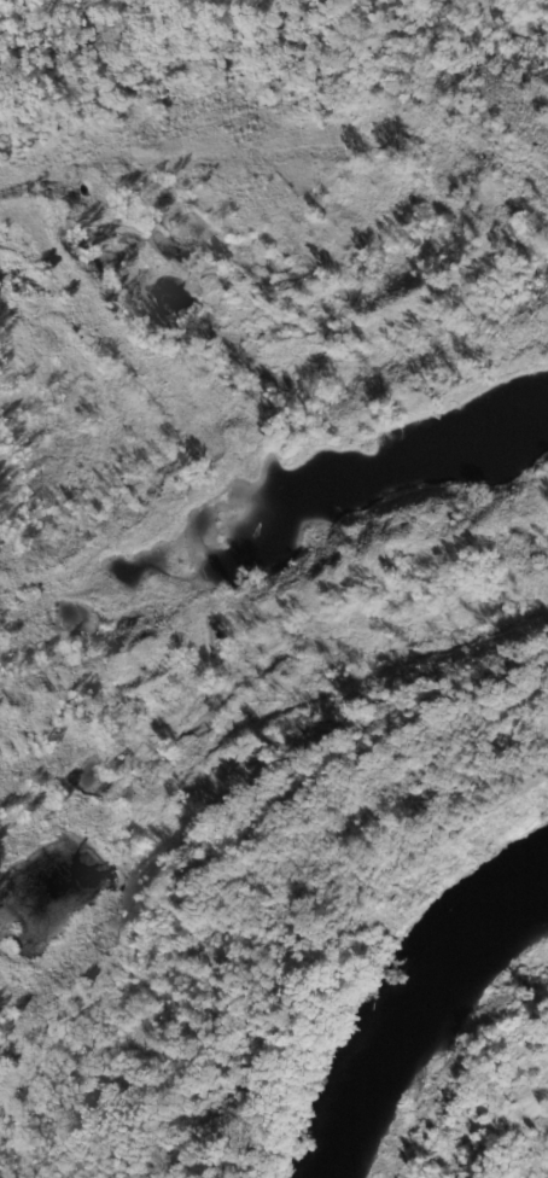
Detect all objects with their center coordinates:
river: (424, 1027)

